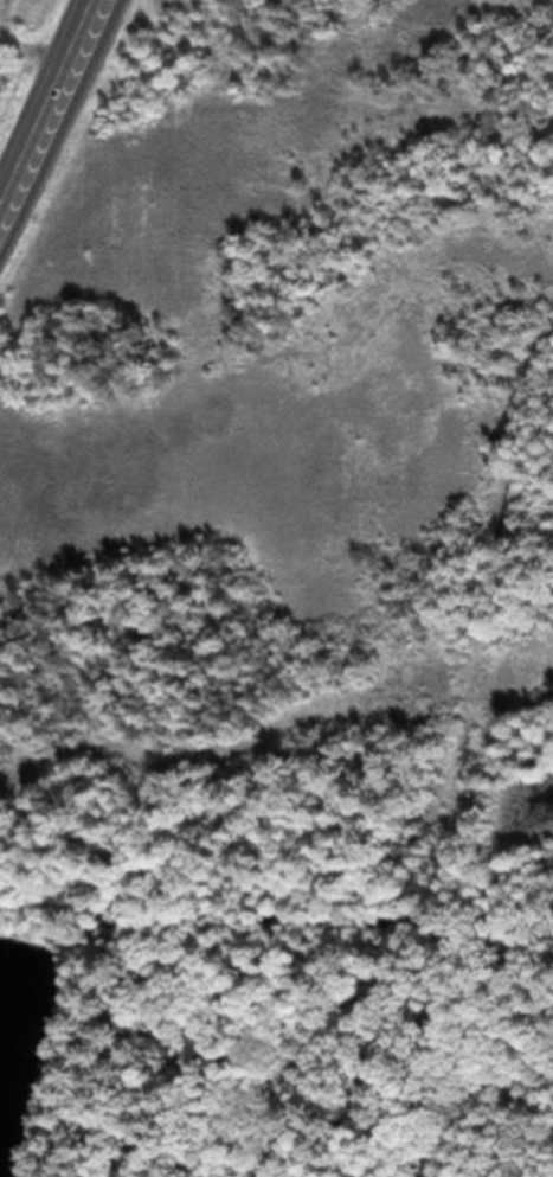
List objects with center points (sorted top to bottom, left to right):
road: (46, 104)

